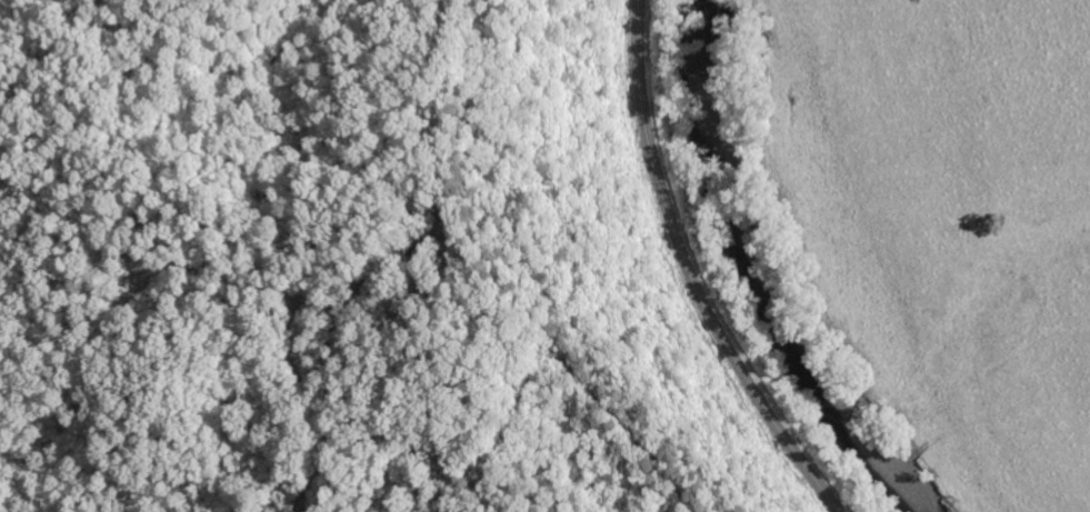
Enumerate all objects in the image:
road: (703, 275)

